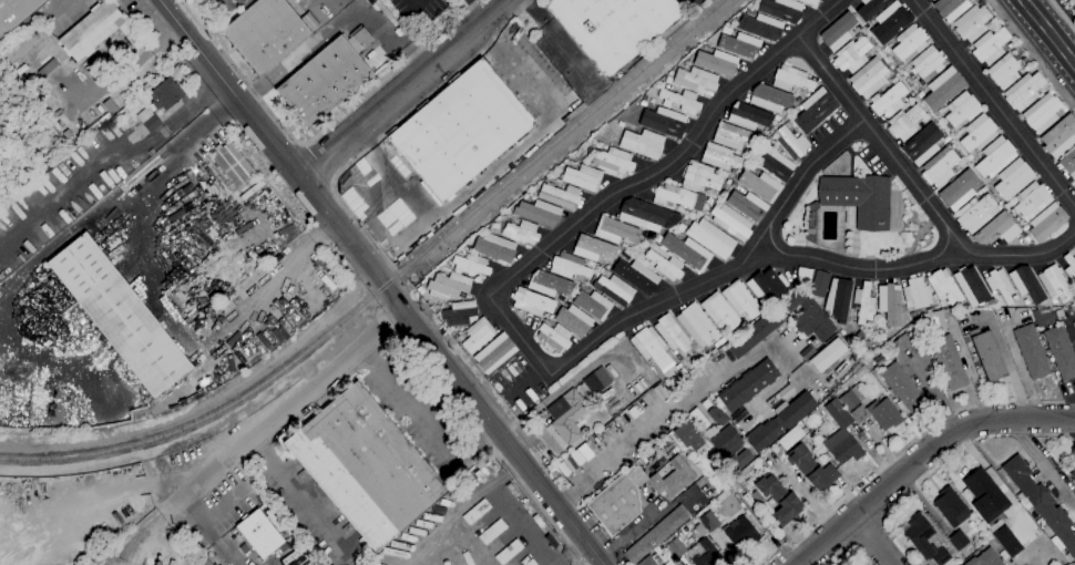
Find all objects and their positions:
building: (930, 0)
building: (932, 0)
building: (1074, 0)
road: (413, 1)
building: (240, 2)
building: (809, 2)
building: (222, 8)
building: (869, 8)
building: (949, 8)
building: (780, 9)
building: (16, 13)
building: (748, 13)
road: (997, 13)
road: (1063, 14)
building: (992, 21)
building: (308, 22)
building: (890, 22)
building: (970, 23)
building: (759, 27)
building: (612, 28)
building: (90, 30)
building: (725, 31)
building: (837, 32)
building: (264, 33)
road: (1047, 34)
road: (396, 37)
building: (133, 42)
building: (908, 43)
building: (739, 45)
building: (989, 45)
building: (1010, 45)
building: (885, 50)
road: (300, 54)
building: (850, 55)
building: (1023, 60)
building: (716, 62)
building: (686, 63)
building: (926, 63)
road: (124, 66)
building: (47, 69)
road: (1042, 70)
building: (1002, 72)
building: (326, 79)
building: (868, 79)
building: (667, 80)
building: (790, 80)
building: (695, 81)
building: (30, 89)
building: (942, 89)
road: (408, 90)
building: (1022, 91)
building: (165, 95)
building: (769, 99)
building: (679, 101)
building: (887, 101)
road: (993, 103)
building: (961, 110)
building: (813, 111)
building: (1042, 112)
building: (747, 116)
building: (775, 119)
building: (147, 120)
building: (663, 122)
building: (904, 123)
building: (620, 124)
building: (787, 125)
road: (389, 130)
building: (88, 131)
building: (459, 131)
building: (976, 133)
building: (65, 134)
road: (319, 134)
building: (735, 134)
building: (1058, 136)
building: (54, 140)
road: (879, 140)
building: (945, 140)
building: (764, 141)
building: (790, 143)
building: (598, 144)
building: (642, 144)
building: (921, 145)
road: (180, 155)
building: (718, 156)
building: (969, 157)
building: (994, 157)
road: (110, 158)
building: (612, 161)
road: (318, 162)
building: (771, 163)
building: (1068, 163)
building: (232, 165)
building: (750, 167)
building: (938, 167)
building: (733, 172)
building: (550, 177)
building: (582, 177)
building: (699, 178)
building: (1012, 179)
building: (727, 182)
building: (1074, 182)
building: (733, 185)
building: (759, 185)
building: (982, 189)
building: (958, 191)
building: (559, 196)
building: (677, 197)
building: (858, 199)
building: (1031, 201)
building: (707, 202)
building: (746, 205)
building: (1007, 205)
building: (811, 207)
building: (537, 213)
building: (975, 213)
building: (643, 215)
building: (705, 217)
building: (730, 222)
building: (1045, 222)
building: (679, 228)
building: (1024, 228)
building: (490, 230)
building: (613, 230)
building: (995, 230)
railway: (441, 233)
building: (521, 233)
building: (709, 238)
building: (1025, 239)
building: (1074, 246)
building: (493, 248)
building: (592, 249)
building: (684, 251)
road: (923, 261)
building: (664, 265)
building: (569, 266)
building: (470, 267)
building: (1069, 267)
building: (602, 271)
building: (636, 276)
road: (381, 281)
railway: (387, 282)
building: (547, 284)
building: (819, 285)
building: (1000, 285)
building: (1025, 285)
building: (1054, 285)
building: (448, 286)
building: (766, 286)
building: (970, 286)
building: (943, 287)
building: (585, 289)
building: (613, 289)
building: (915, 294)
building: (1014, 297)
building: (792, 299)
building: (837, 299)
building: (739, 300)
building: (531, 302)
building: (1025, 302)
building: (863, 304)
building: (889, 304)
building: (591, 305)
building: (718, 311)
building: (459, 314)
building: (911, 314)
building: (1058, 314)
building: (117, 315)
building: (1074, 316)
building: (1041, 317)
road: (505, 318)
building: (546, 320)
building: (572, 320)
building: (744, 321)
building: (811, 321)
building: (933, 322)
building: (696, 326)
building: (973, 332)
road: (203, 333)
building: (670, 333)
building: (726, 335)
building: (752, 335)
building: (477, 336)
building: (859, 336)
building: (553, 337)
building: (881, 337)
building: (460, 338)
building: (856, 341)
building: (903, 341)
building: (718, 343)
building: (647, 345)
building: (673, 351)
building: (1030, 351)
building: (1059, 352)
building: (493, 353)
building: (826, 355)
building: (986, 357)
building: (948, 362)
road: (1007, 370)
building: (682, 372)
building: (596, 381)
building: (747, 386)
building: (902, 389)
building: (851, 398)
road: (685, 400)
building: (771, 400)
building: (795, 410)
building: (859, 414)
building: (883, 414)
building: (716, 417)
building: (564, 419)
building: (697, 419)
road: (427, 420)
building: (764, 434)
building: (840, 435)
road: (253, 436)
building: (686, 436)
building: (788, 438)
building: (725, 442)
road: (488, 443)
road: (919, 456)
building: (739, 461)
road: (1042, 462)
building: (364, 466)
building: (810, 469)
building: (489, 470)
building: (1073, 474)
building: (479, 476)
building: (672, 479)
building: (715, 483)
road: (297, 487)
building: (511, 491)
road: (566, 495)
building: (984, 496)
building: (757, 497)
building: (777, 499)
building: (617, 500)
building: (1041, 505)
road: (747, 507)
building: (950, 507)
building: (475, 512)
road: (207, 516)
building: (943, 528)
building: (730, 530)
building: (491, 532)
building: (258, 534)
building: (655, 534)
building: (921, 540)
road: (870, 541)
building: (550, 542)
building: (1006, 542)
road: (218, 544)
building: (960, 544)
building: (693, 551)
building: (508, 552)
building: (1001, 554)
building: (1004, 557)
building: (653, 558)
building: (984, 558)
building: (202, 561)
building: (530, 563)
building: (668, 563)

